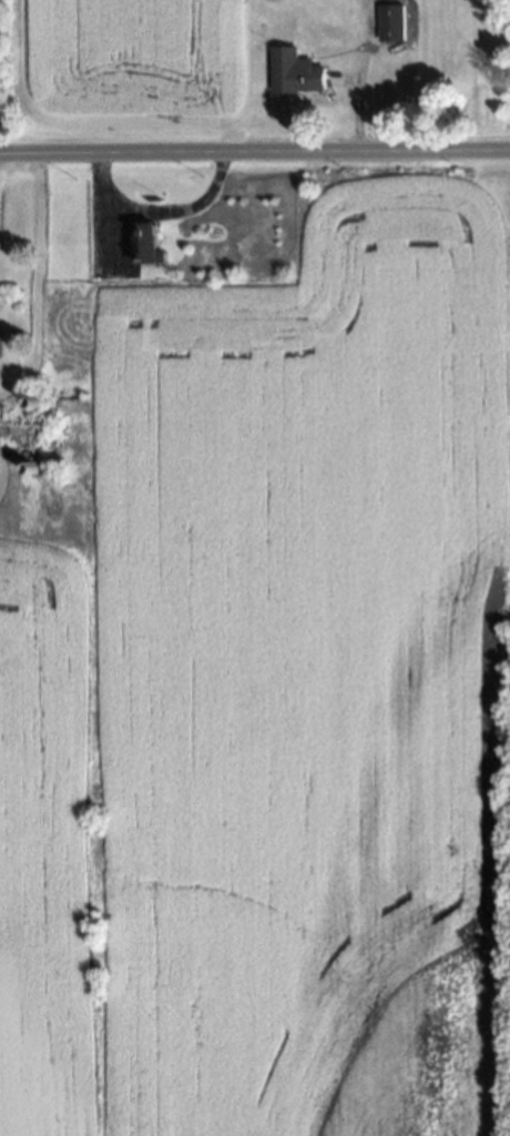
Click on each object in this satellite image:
building: (300, 72)
road: (254, 150)
building: (152, 243)

